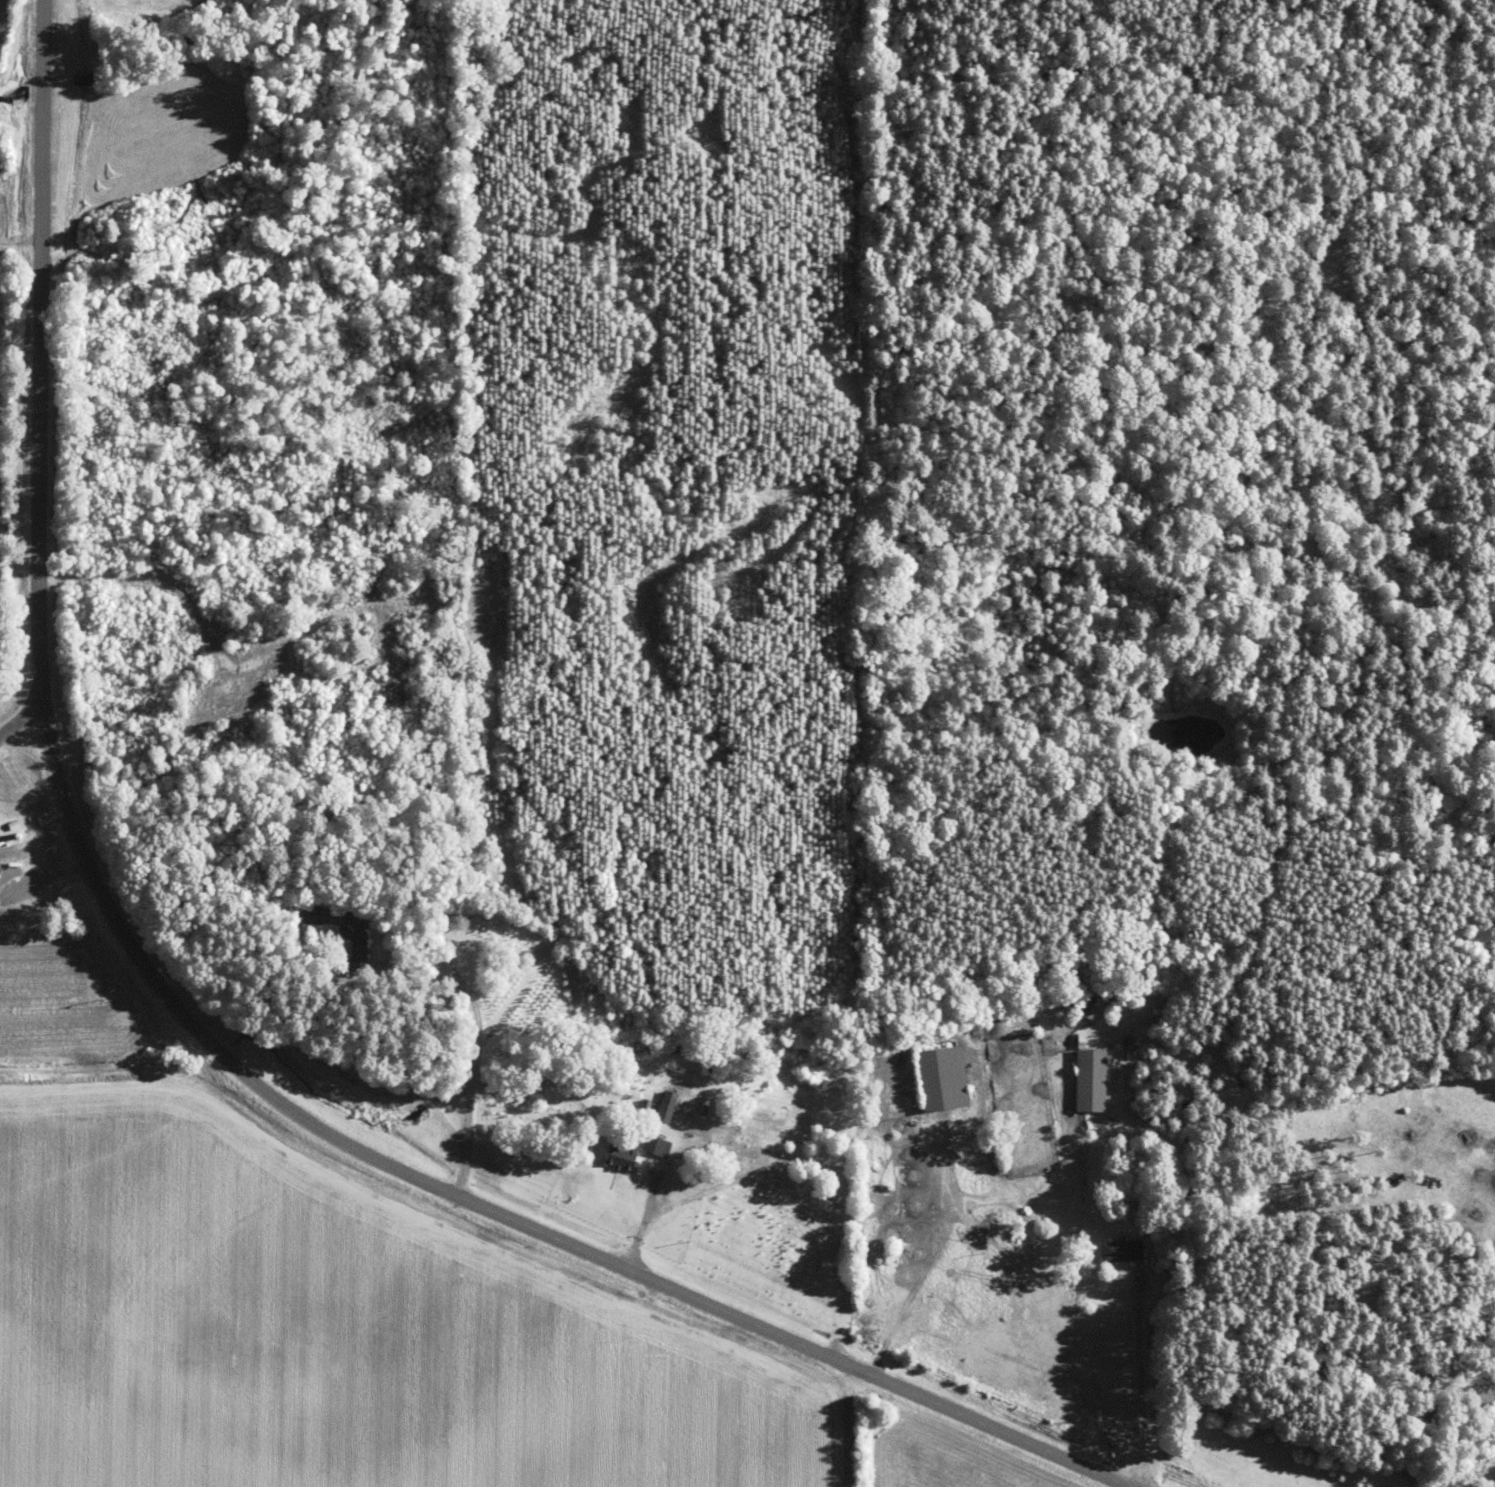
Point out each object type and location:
road: (19, 723)
building: (351, 948)
road: (184, 1021)
building: (717, 1065)
building: (939, 1078)
building: (1087, 1079)
building: (790, 1107)
building: (756, 1131)
building: (653, 1145)
building: (617, 1155)
building: (1118, 1249)

